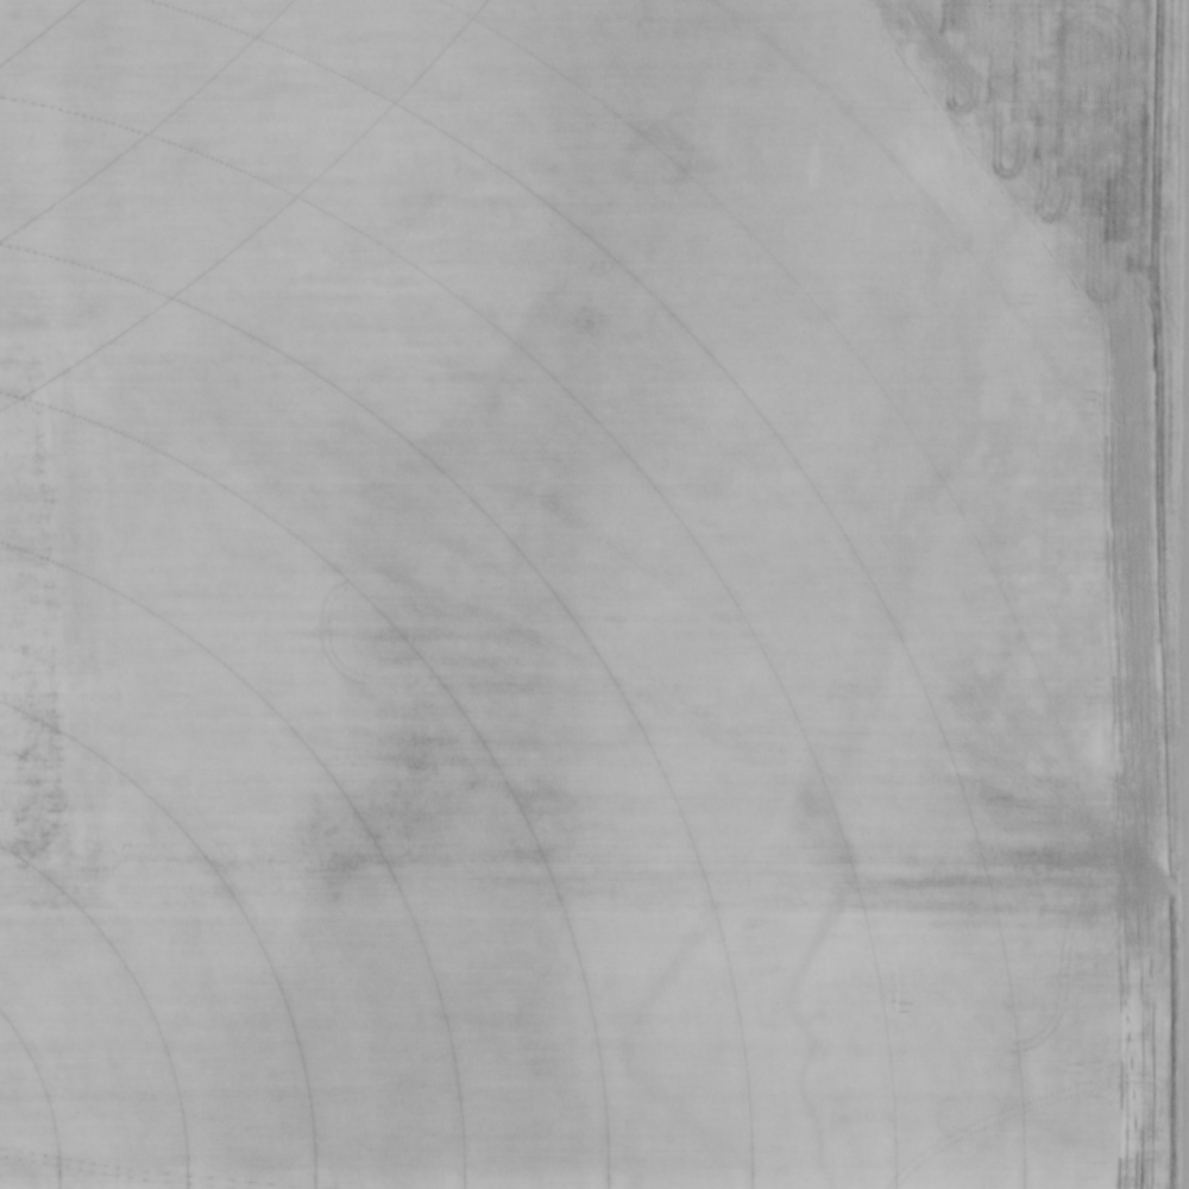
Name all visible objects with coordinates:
road: (1185, 623)

